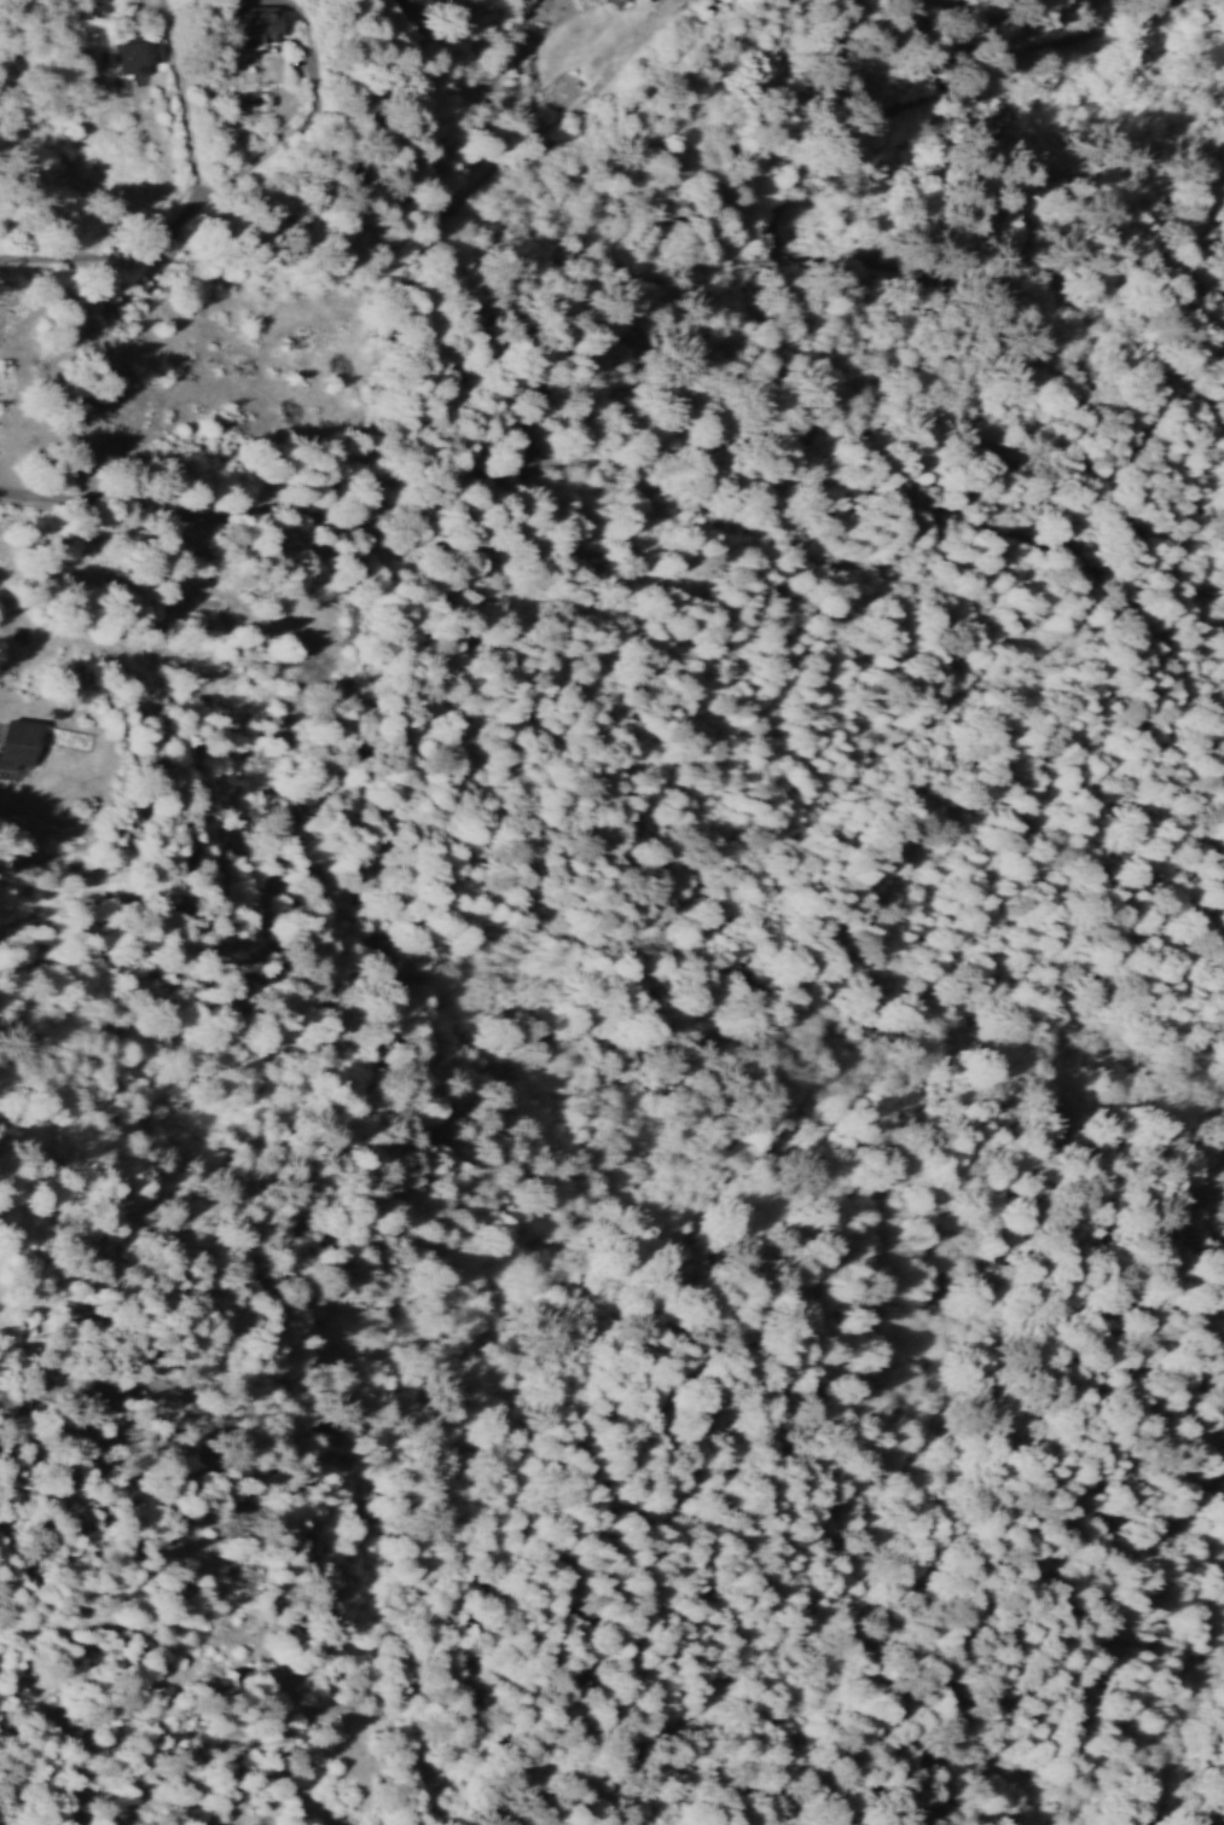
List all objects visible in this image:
building: (139, 52)
road: (524, 270)
road: (799, 381)
building: (23, 743)

